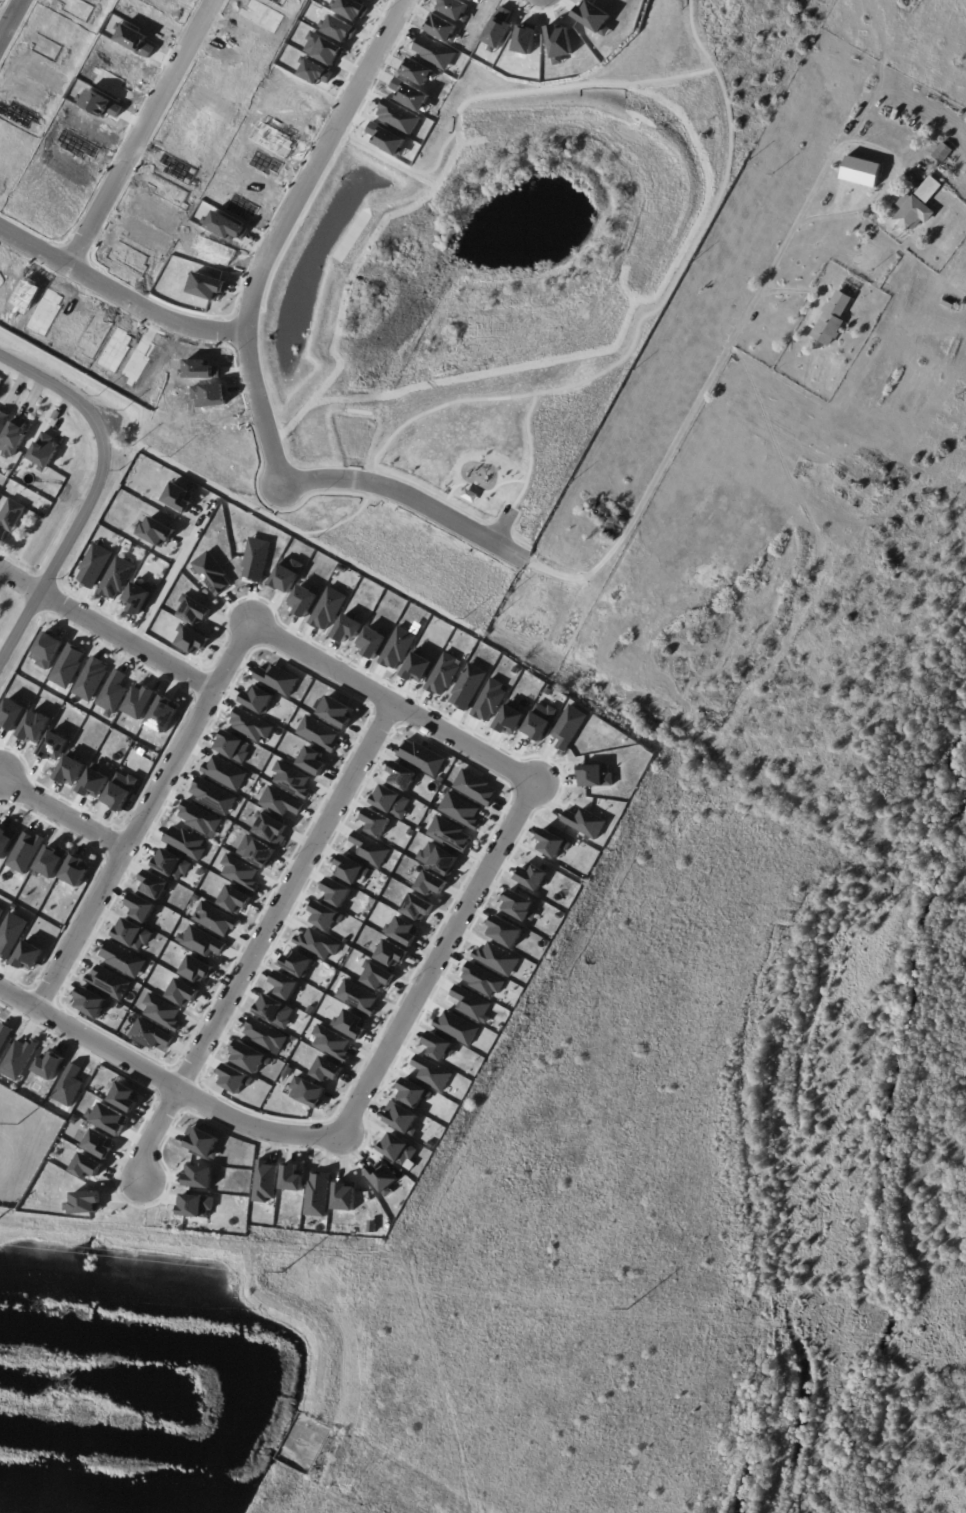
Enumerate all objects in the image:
building: (478, 1)
building: (350, 8)
building: (455, 9)
road: (544, 11)
building: (262, 15)
building: (595, 17)
road: (11, 21)
building: (338, 28)
building: (442, 28)
building: (499, 29)
building: (525, 38)
building: (133, 39)
building: (560, 43)
building: (323, 48)
road: (362, 49)
building: (435, 52)
building: (418, 71)
building: (315, 72)
road: (670, 77)
road: (495, 95)
building: (98, 104)
building: (399, 117)
road: (142, 133)
building: (272, 139)
building: (387, 139)
building: (944, 153)
road: (335, 159)
road: (386, 160)
road: (415, 170)
building: (965, 171)
building: (913, 177)
building: (168, 191)
building: (918, 206)
building: (242, 208)
building: (226, 226)
road: (282, 232)
building: (214, 251)
building: (207, 286)
road: (792, 291)
building: (27, 294)
road: (119, 294)
building: (947, 305)
building: (45, 312)
road: (643, 317)
building: (833, 320)
building: (137, 363)
building: (200, 369)
road: (489, 371)
building: (209, 395)
building: (432, 413)
building: (2, 419)
building: (532, 427)
building: (12, 439)
building: (44, 450)
road: (530, 452)
building: (510, 456)
park: (482, 486)
road: (369, 491)
road: (482, 491)
road: (95, 494)
road: (410, 496)
road: (438, 496)
building: (178, 497)
road: (292, 510)
building: (10, 517)
building: (609, 520)
road: (502, 525)
building: (156, 532)
road: (621, 537)
road: (516, 539)
building: (255, 559)
building: (93, 566)
road: (173, 571)
building: (212, 573)
building: (286, 575)
building: (116, 578)
building: (137, 597)
building: (303, 599)
building: (327, 609)
building: (194, 611)
building: (346, 628)
road: (106, 630)
building: (191, 640)
building: (371, 641)
building: (396, 648)
building: (46, 650)
building: (67, 665)
building: (417, 666)
building: (442, 675)
building: (91, 679)
building: (277, 679)
building: (467, 686)
building: (112, 693)
building: (489, 700)
building: (139, 701)
building: (258, 705)
building: (334, 711)
building: (11, 714)
building: (162, 714)
building: (509, 718)
building: (539, 721)
building: (652, 724)
building: (34, 726)
building: (568, 727)
building: (253, 729)
building: (318, 733)
building: (53, 746)
building: (233, 752)
building: (421, 757)
building: (311, 761)
building: (70, 770)
building: (594, 775)
building: (401, 776)
building: (225, 777)
building: (291, 779)
building: (93, 783)
building: (475, 788)
building: (119, 791)
building: (213, 800)
building: (391, 801)
building: (280, 802)
building: (459, 810)
road: (62, 813)
road: (143, 814)
road: (515, 814)
building: (199, 818)
building: (375, 822)
building: (584, 822)
building: (270, 829)
building: (449, 834)
building: (5, 841)
building: (185, 842)
building: (550, 843)
building: (369, 849)
building: (256, 851)
building: (24, 852)
building: (437, 858)
building: (51, 861)
building: (170, 864)
building: (350, 869)
building: (75, 871)
building: (240, 872)
building: (530, 876)
building: (430, 883)
building: (153, 884)
building: (336, 892)
building: (234, 900)
building: (517, 905)
building: (141, 907)
building: (417, 907)
building: (0, 909)
building: (325, 916)
building: (214, 919)
building: (401, 931)
building: (503, 931)
building: (131, 933)
building: (11, 934)
road: (258, 938)
building: (201, 941)
building: (317, 943)
building: (390, 954)
building: (28, 955)
building: (122, 958)
building: (496, 959)
building: (297, 962)
building: (195, 969)
building: (376, 976)
building: (481, 979)
building: (109, 982)
building: (284, 985)
building: (182, 993)
building: (357, 997)
building: (90, 1001)
building: (471, 1004)
building: (274, 1011)
building: (161, 1012)
building: (350, 1024)
building: (456, 1027)
building: (150, 1034)
building: (264, 1034)
building: (4, 1035)
building: (331, 1043)
building: (438, 1047)
building: (248, 1057)
building: (18, 1059)
building: (48, 1065)
building: (326, 1069)
building: (431, 1073)
building: (233, 1079)
road: (165, 1083)
building: (68, 1085)
building: (307, 1092)
building: (412, 1093)
building: (123, 1097)
building: (400, 1117)
building: (109, 1119)
power tower: (16, 1123)
building: (201, 1141)
power substation: (23, 1142)
building: (98, 1143)
building: (397, 1149)
building: (86, 1166)
building: (198, 1176)
building: (291, 1178)
building: (382, 1178)
building: (264, 1181)
building: (317, 1194)
building: (344, 1196)
building: (83, 1202)
building: (195, 1206)
power tower: (280, 1271)
power tower: (630, 1311)

